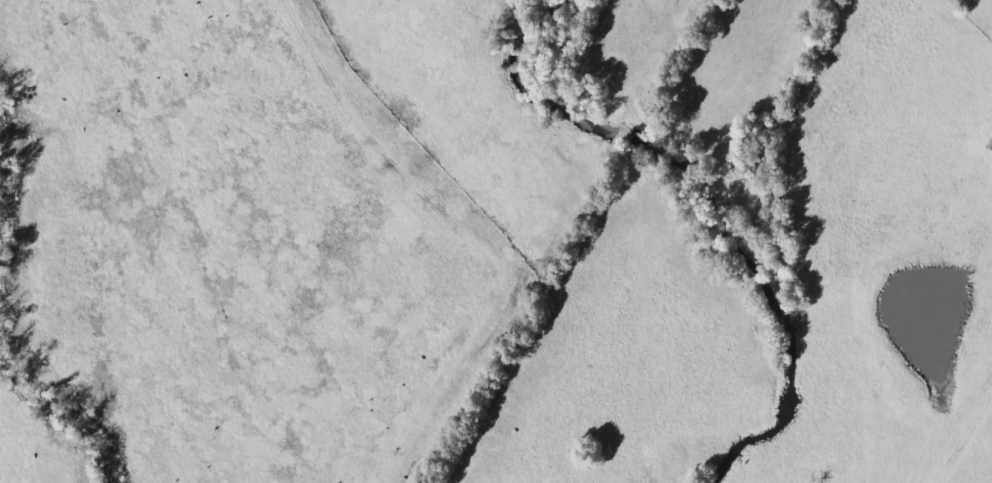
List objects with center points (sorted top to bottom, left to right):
building: (989, 145)

